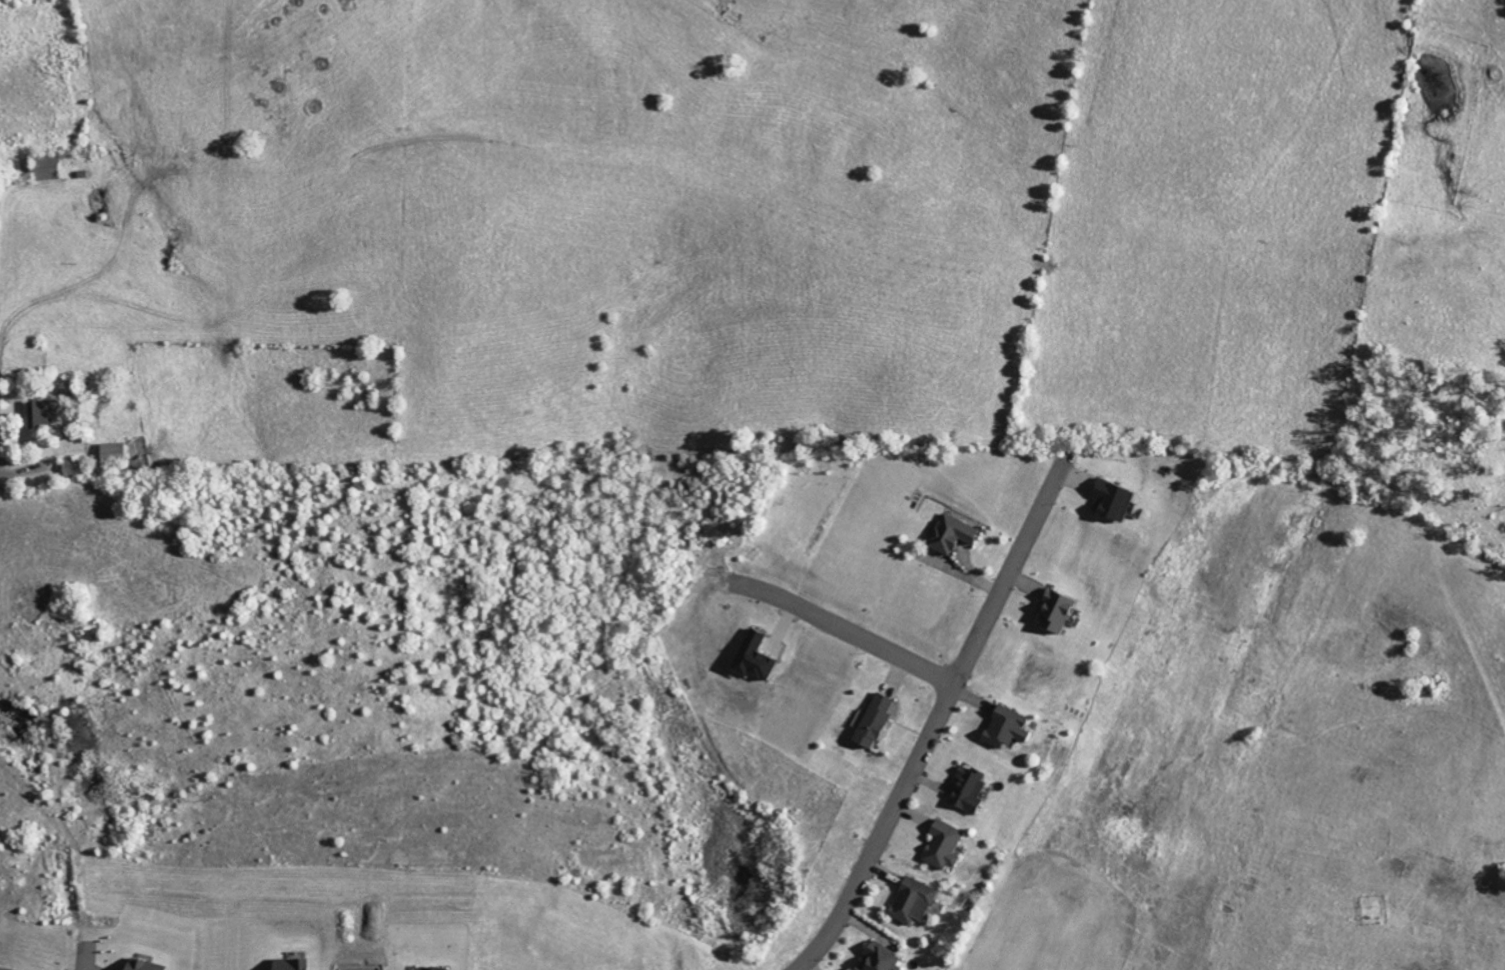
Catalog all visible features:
building: (55, 168)
building: (36, 412)
building: (111, 451)
building: (1108, 499)
building: (949, 532)
building: (1051, 611)
road: (842, 629)
building: (752, 658)
road: (937, 717)
building: (869, 720)
building: (1002, 726)
park: (1280, 749)
building: (965, 789)
building: (940, 844)
building: (910, 900)
building: (875, 958)
building: (287, 964)
building: (140, 965)
building: (434, 968)

